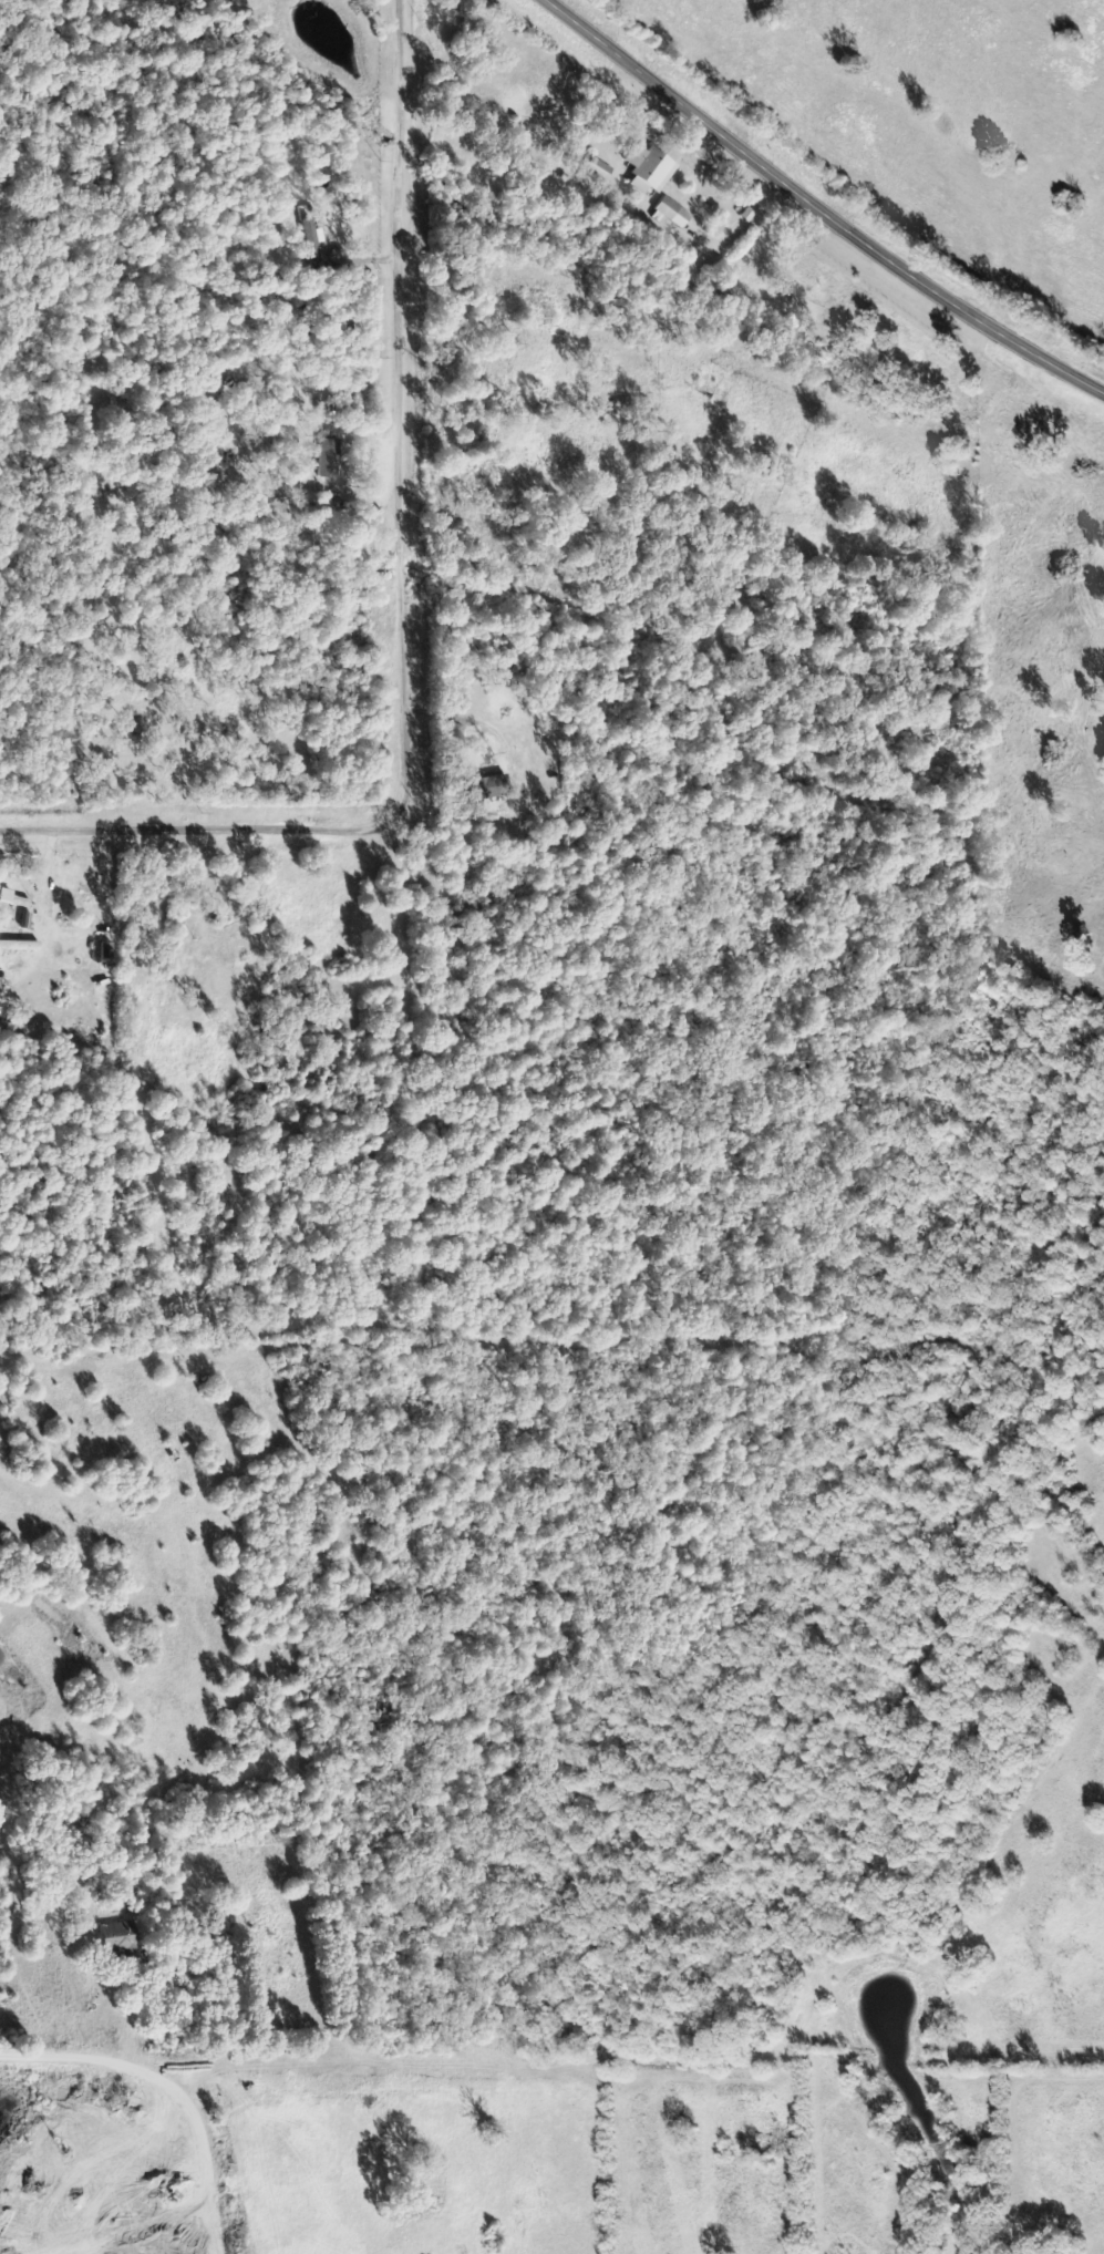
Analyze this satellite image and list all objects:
building: (598, 169)
building: (648, 171)
road: (824, 203)
building: (671, 213)
road: (41, 356)
building: (327, 460)
road: (410, 613)
building: (488, 782)
building: (12, 899)
building: (1, 1005)
building: (116, 1937)
road: (588, 2060)

